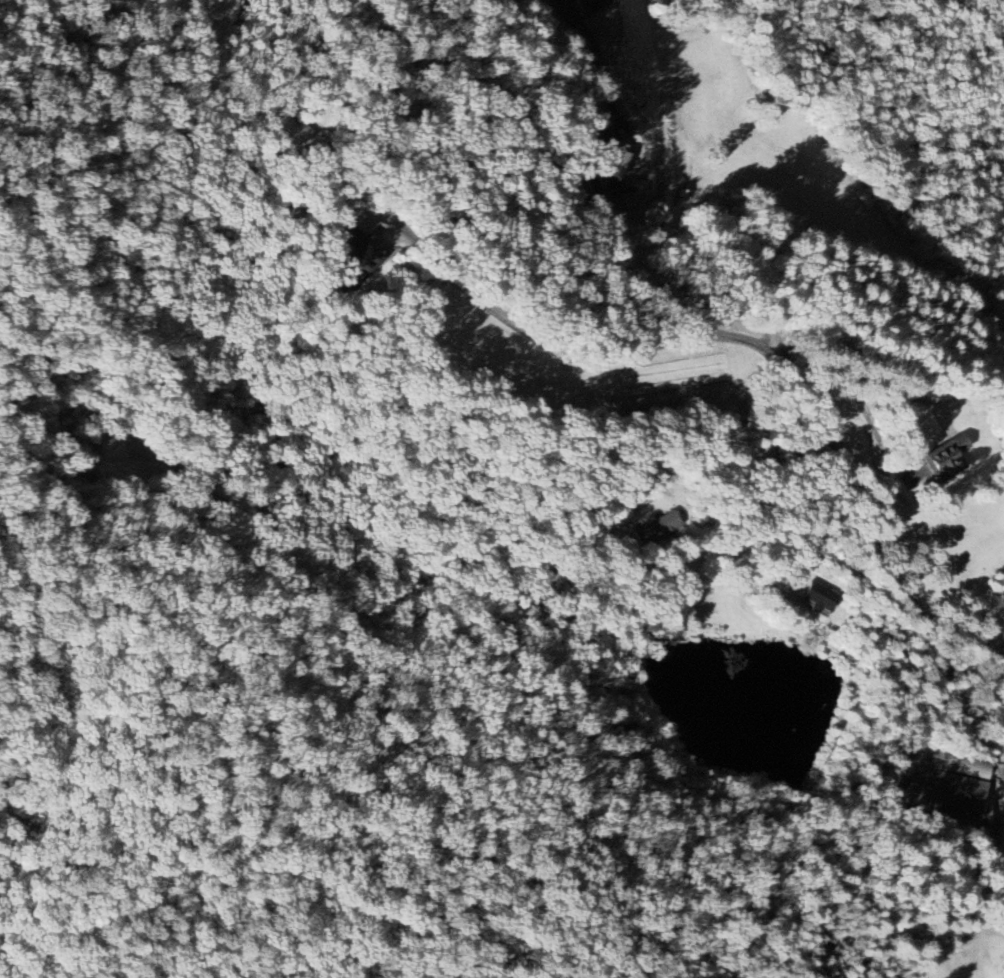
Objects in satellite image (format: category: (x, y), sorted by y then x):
road: (974, 23)
building: (612, 166)
road: (597, 185)
building: (369, 251)
road: (763, 343)
building: (949, 459)
building: (656, 528)
building: (818, 598)
building: (943, 782)

